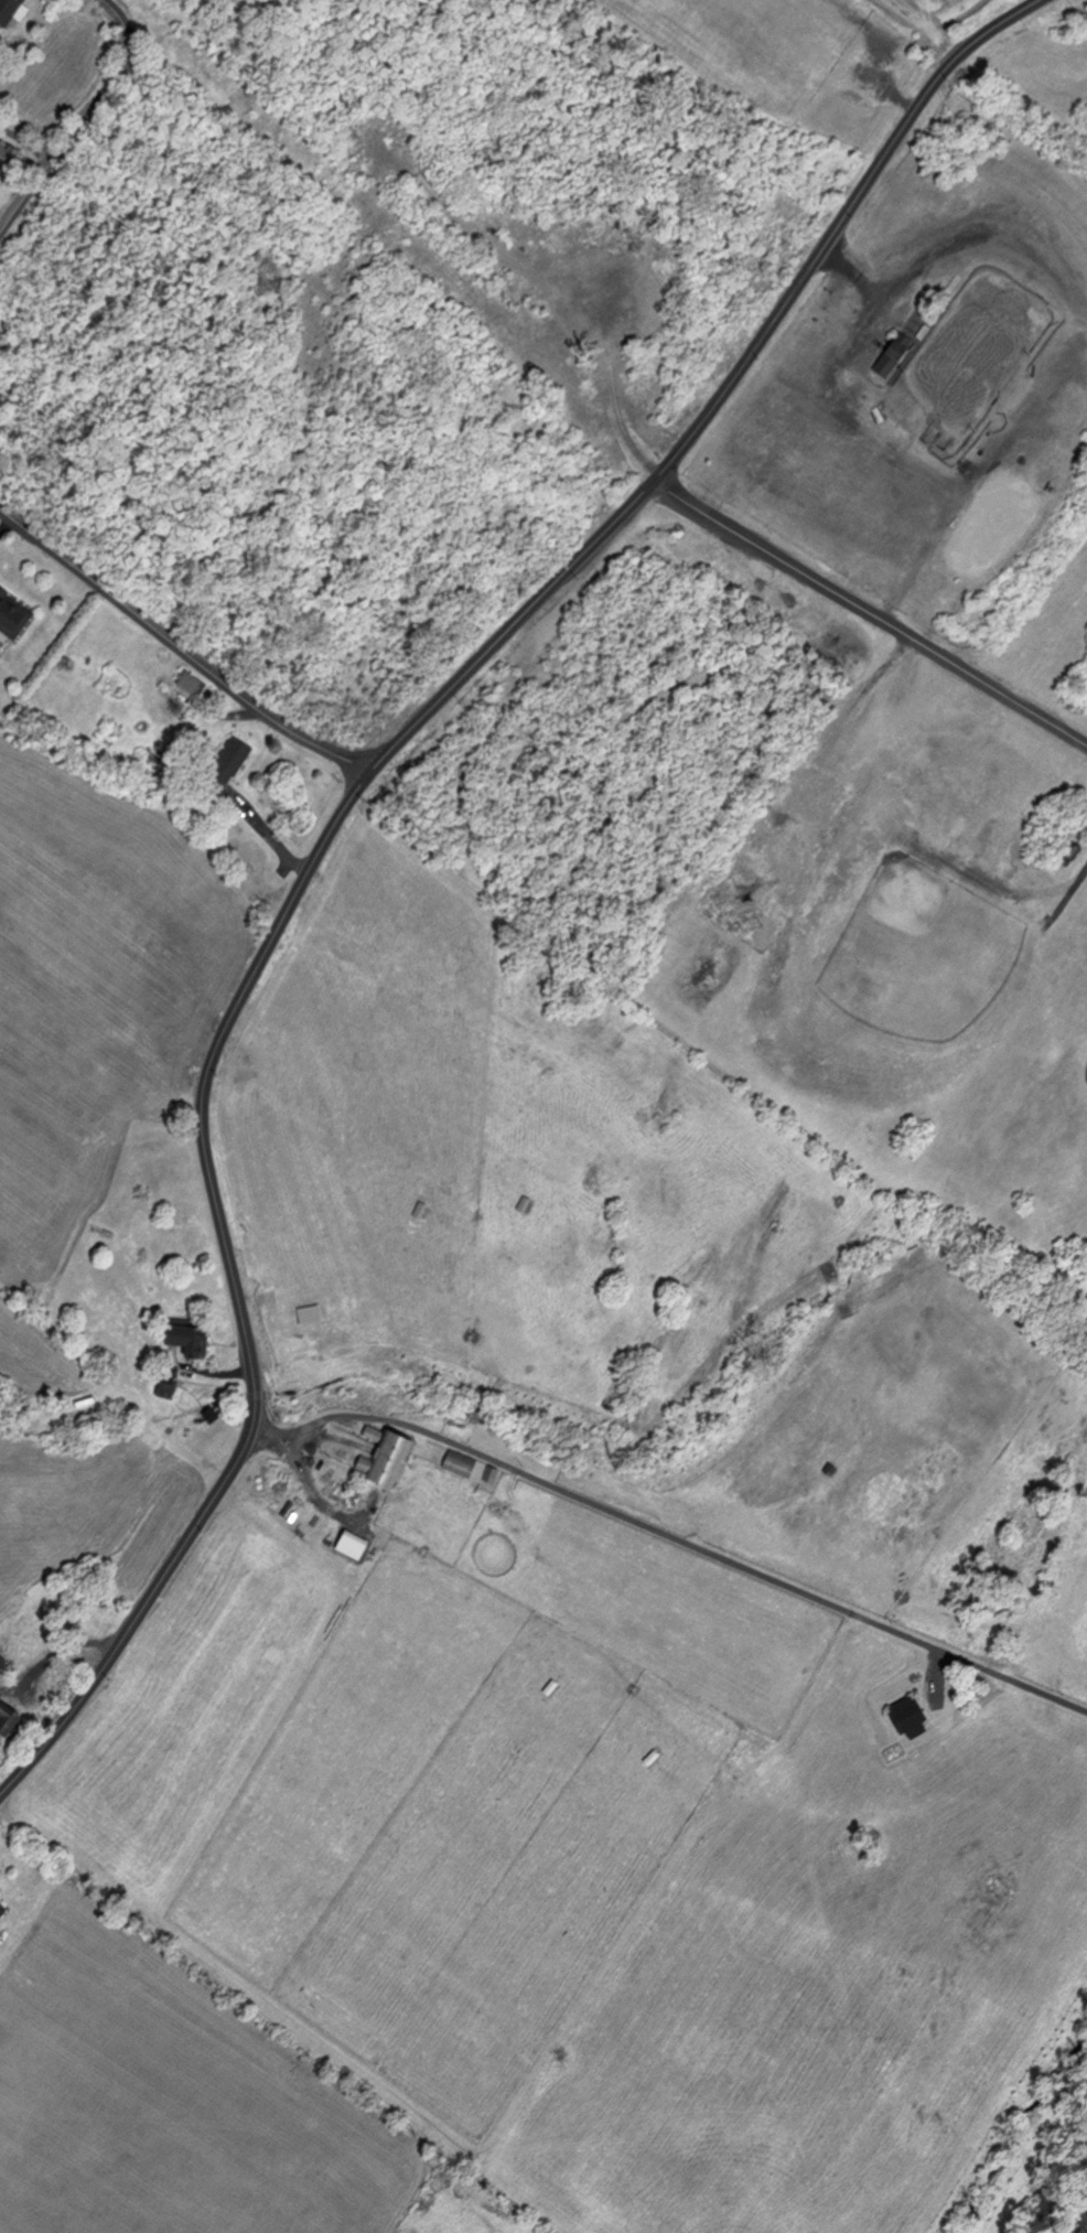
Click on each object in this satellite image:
building: (10, 10)
road: (83, 119)
building: (9, 153)
building: (895, 353)
road: (870, 610)
building: (14, 613)
road: (180, 647)
building: (192, 683)
building: (230, 760)
road: (334, 823)
building: (310, 1312)
building: (191, 1338)
building: (387, 1454)
building: (470, 1466)
road: (672, 1536)
building: (2, 1661)
building: (9, 1717)
building: (912, 1717)
building: (3, 1909)

